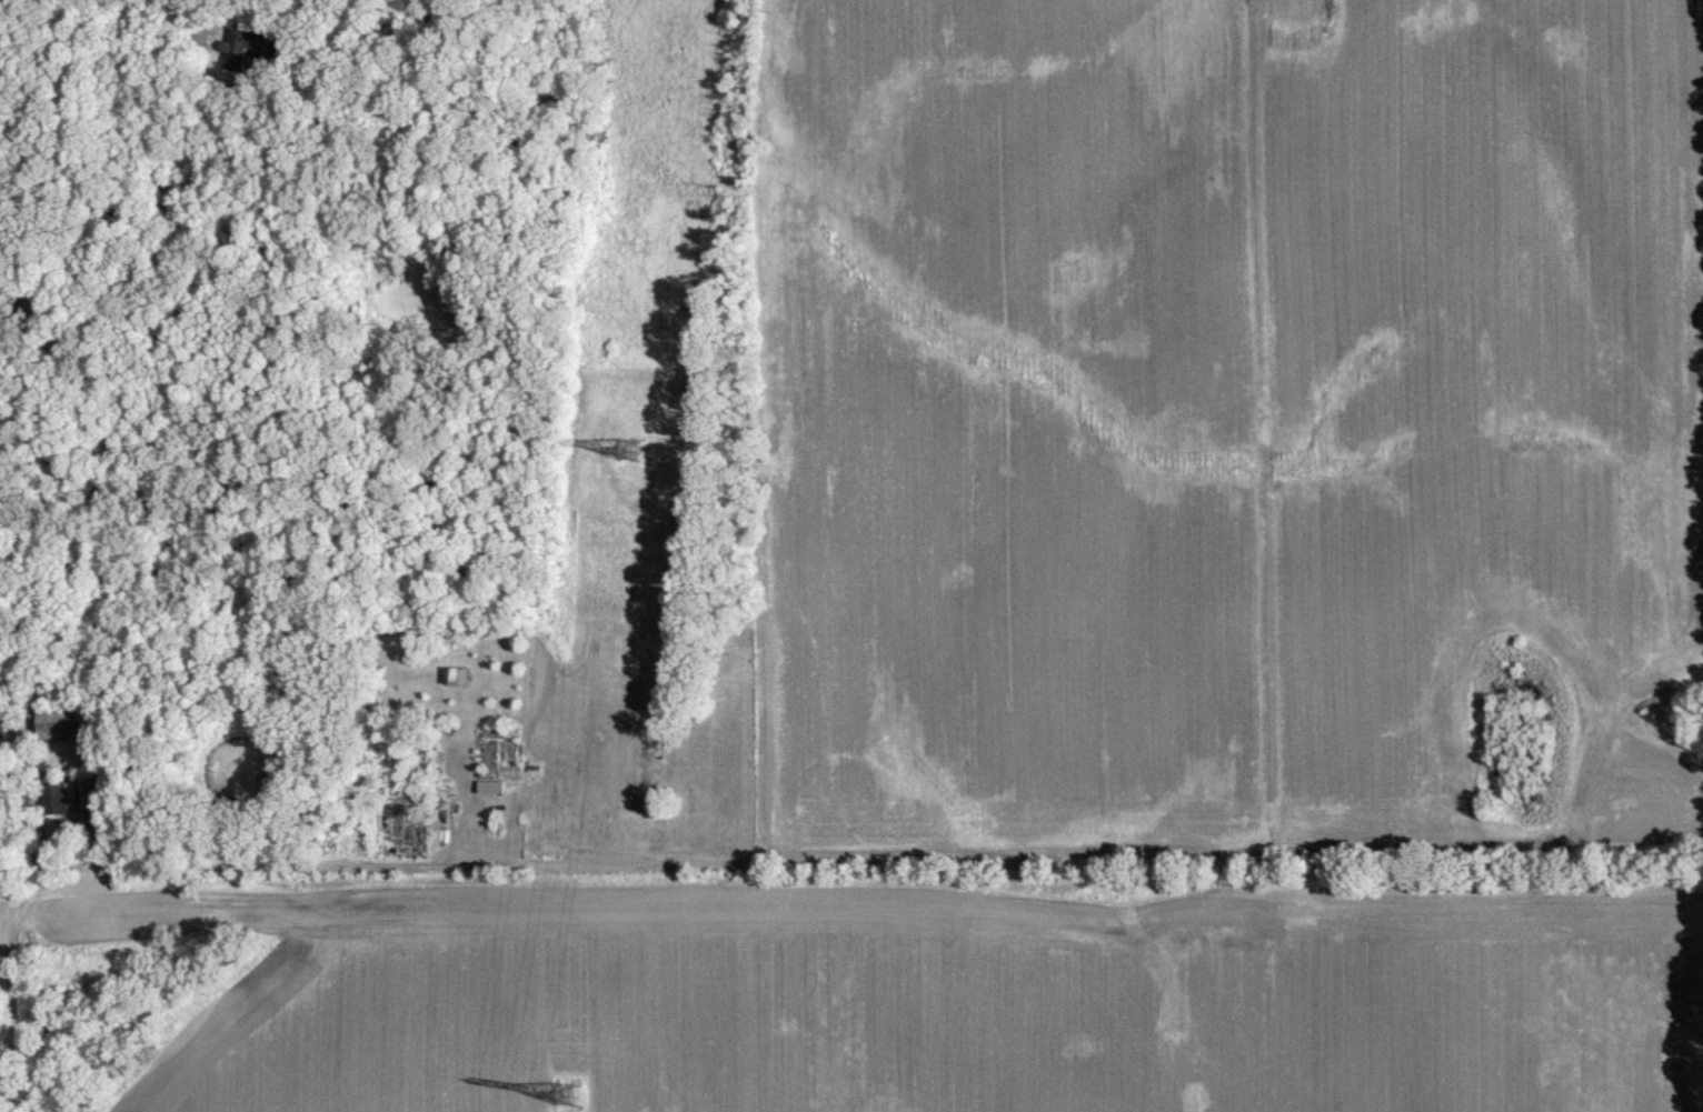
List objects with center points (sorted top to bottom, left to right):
building: (247, 44)
road: (263, 87)
road: (81, 246)
power tower: (630, 449)
building: (457, 674)
building: (63, 720)
building: (60, 797)
power tower: (571, 1093)

